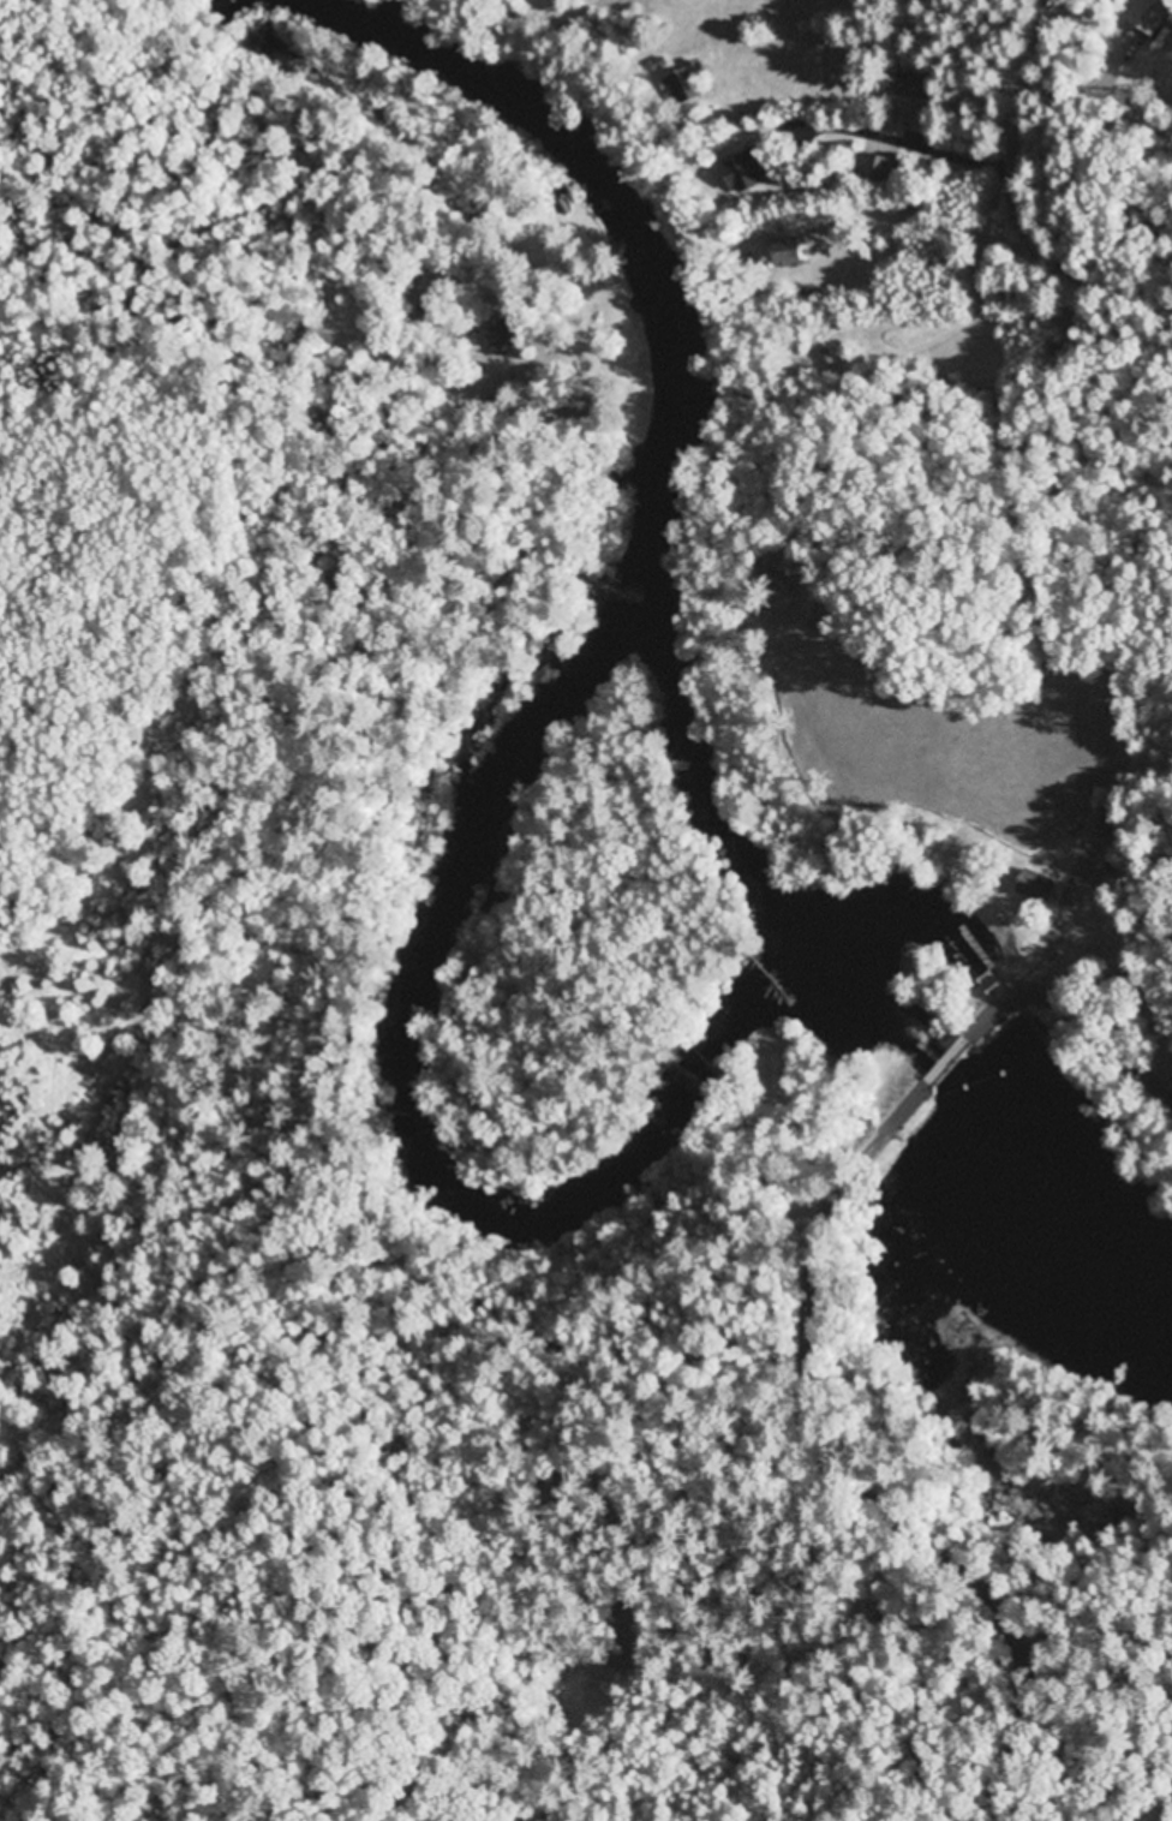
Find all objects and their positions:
building: (688, 84)
building: (911, 88)
building: (748, 172)
road: (1107, 190)
river: (636, 234)
building: (793, 253)
building: (513, 332)
building: (453, 348)
road: (1156, 388)
building: (507, 402)
building: (588, 407)
building: (1106, 828)
building: (1038, 886)
river: (873, 1003)
road: (1076, 1011)
road: (946, 1064)
dam: (935, 1081)
river: (409, 1118)
road: (849, 1473)

